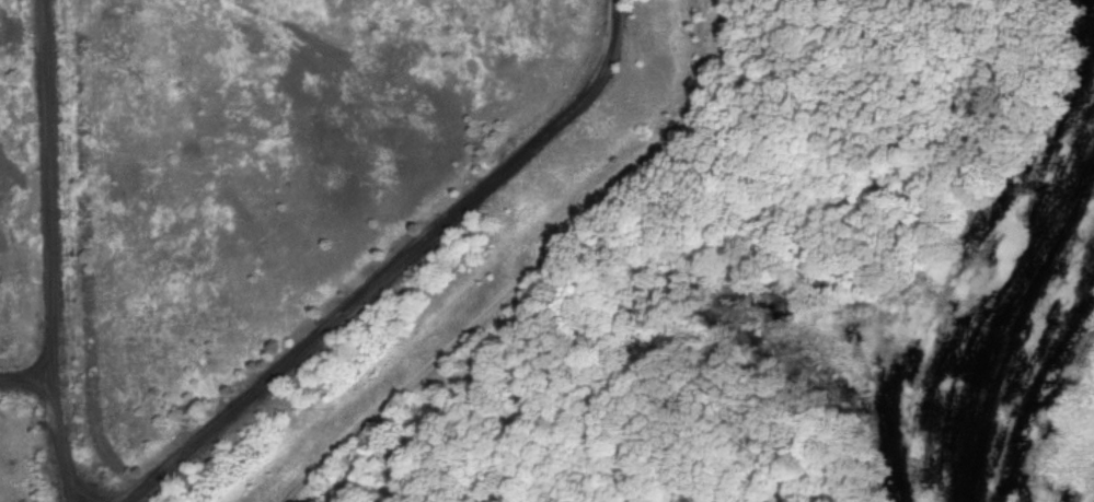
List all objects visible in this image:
river: (1007, 328)

